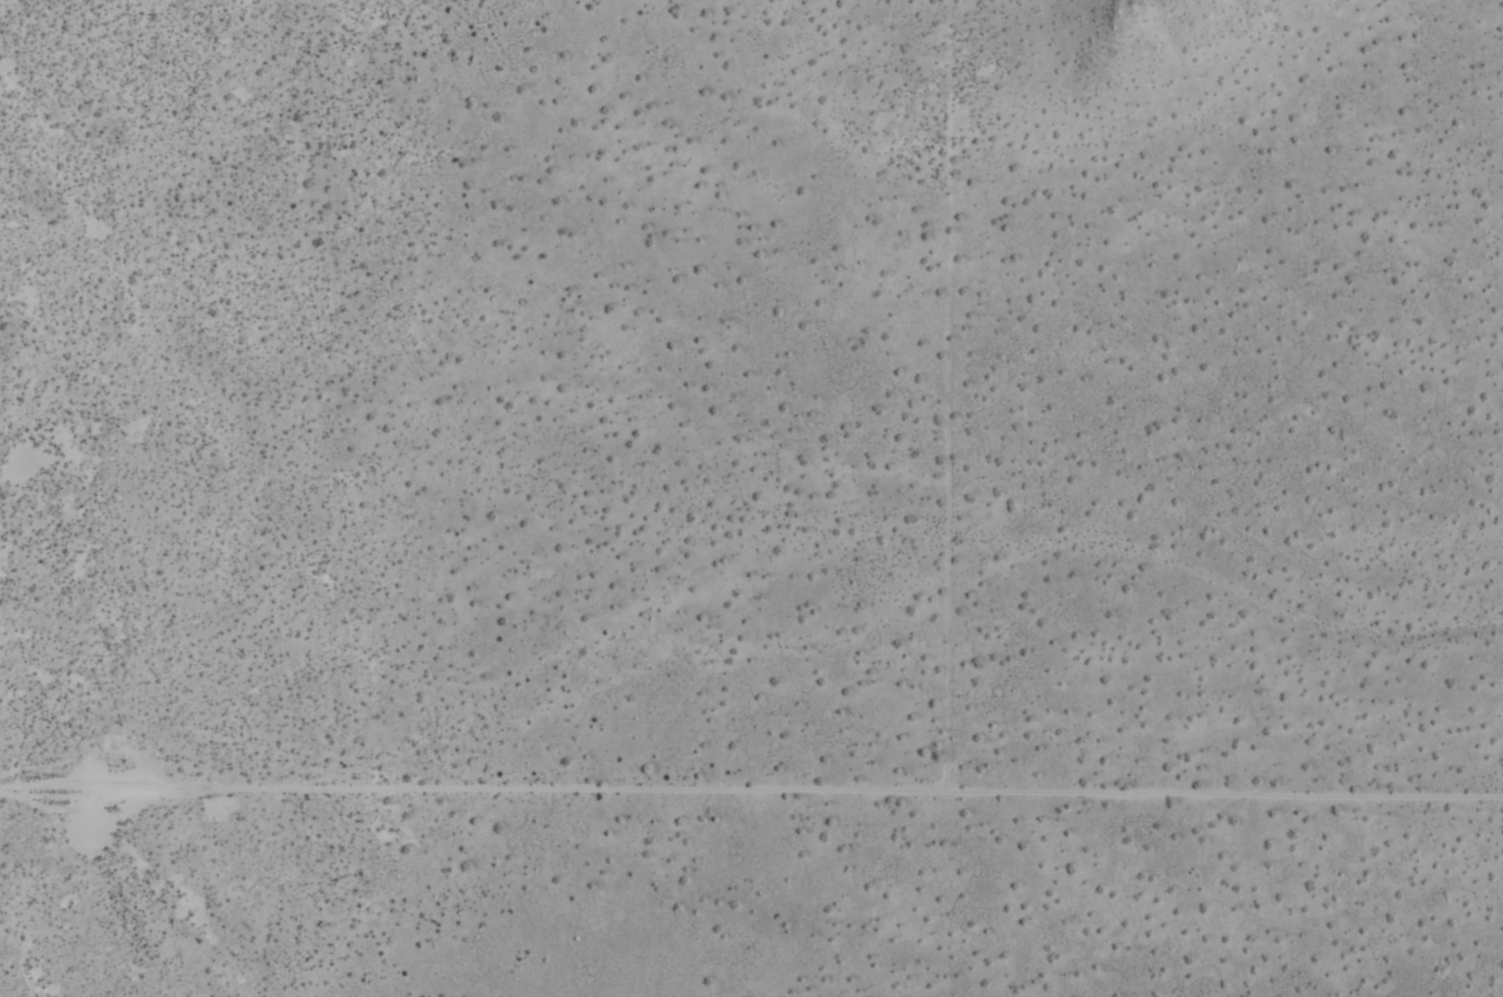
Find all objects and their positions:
road: (751, 786)

